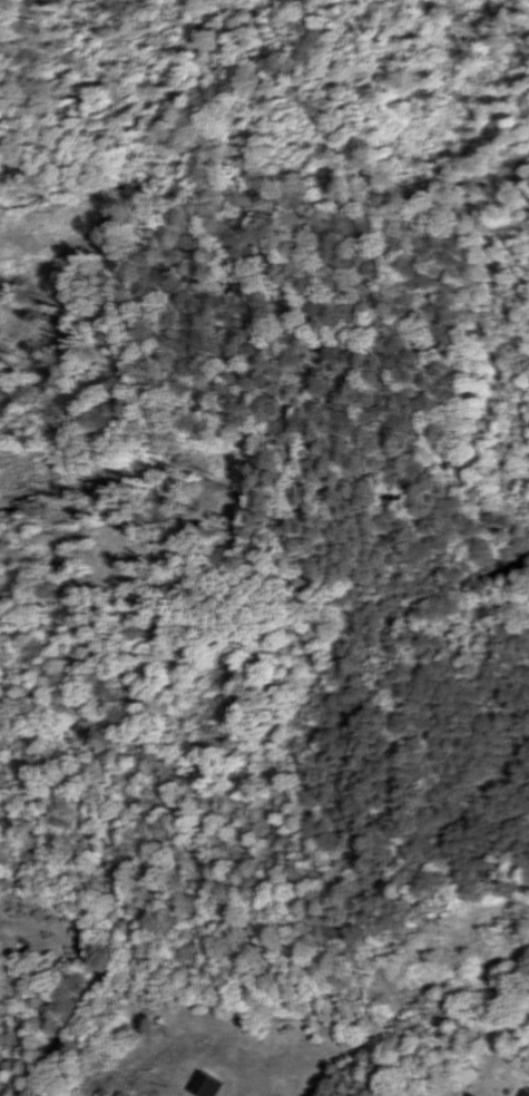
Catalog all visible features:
building: (204, 1087)
building: (520, 1094)

